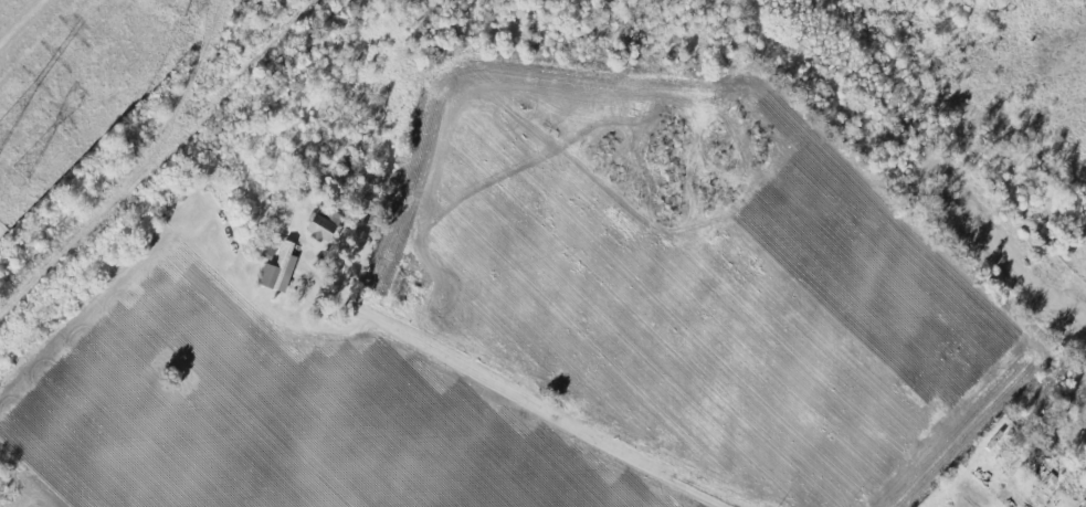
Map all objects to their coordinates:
railway: (211, 106)
power tower: (18, 177)
railway: (137, 177)
building: (324, 223)
building: (278, 268)
road: (562, 411)

